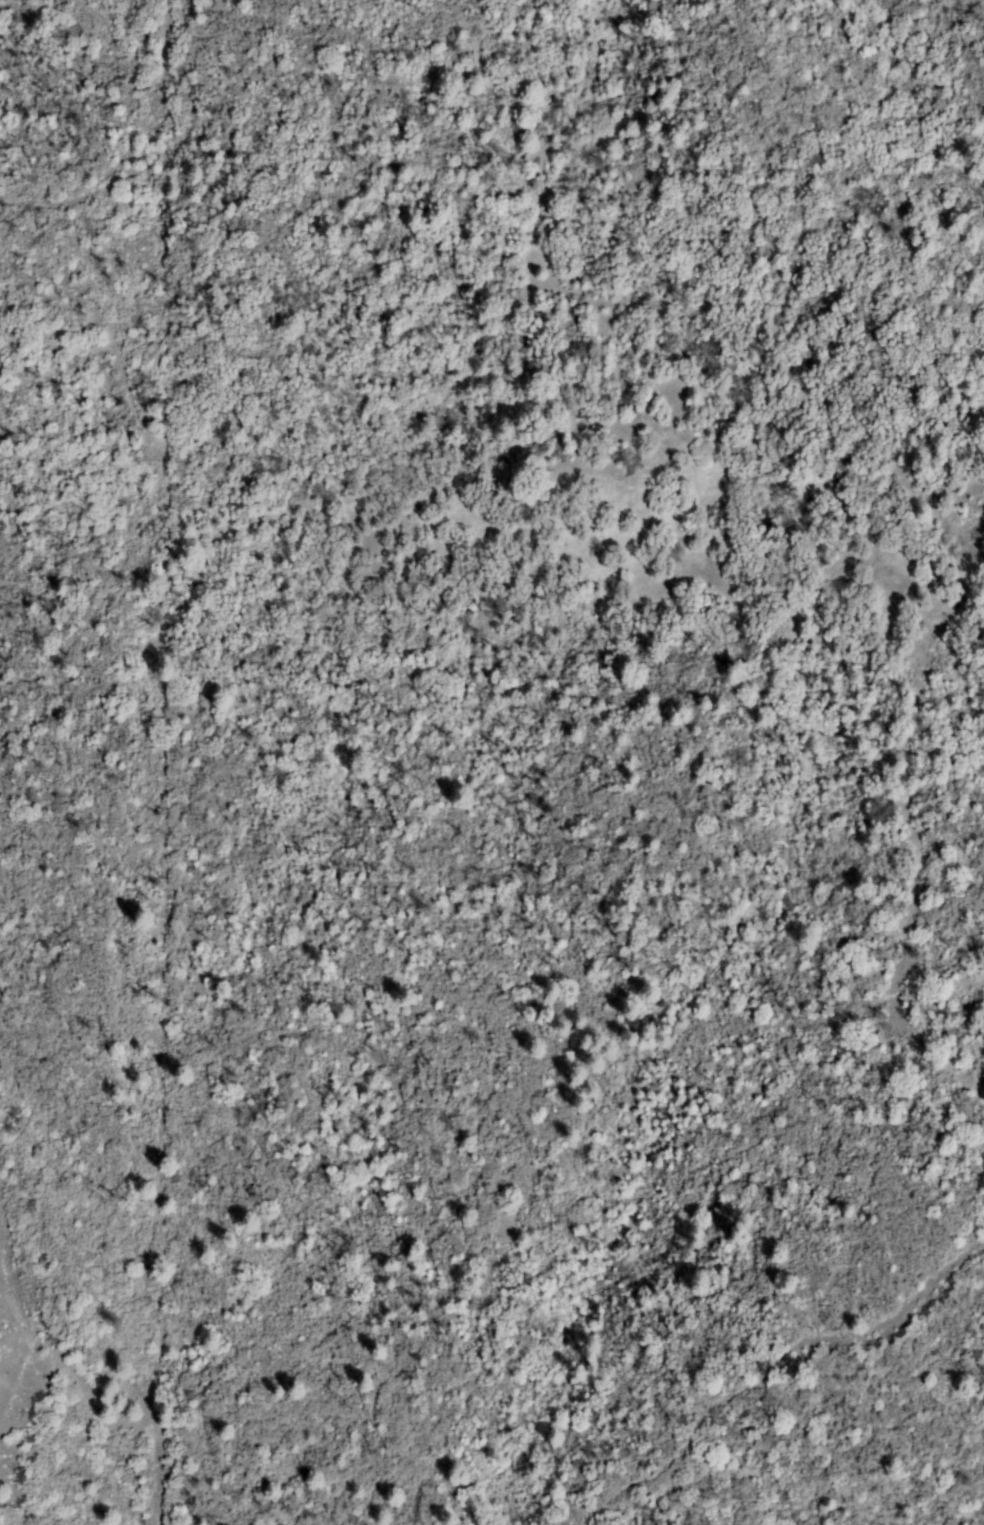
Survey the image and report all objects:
road: (13, 1405)

